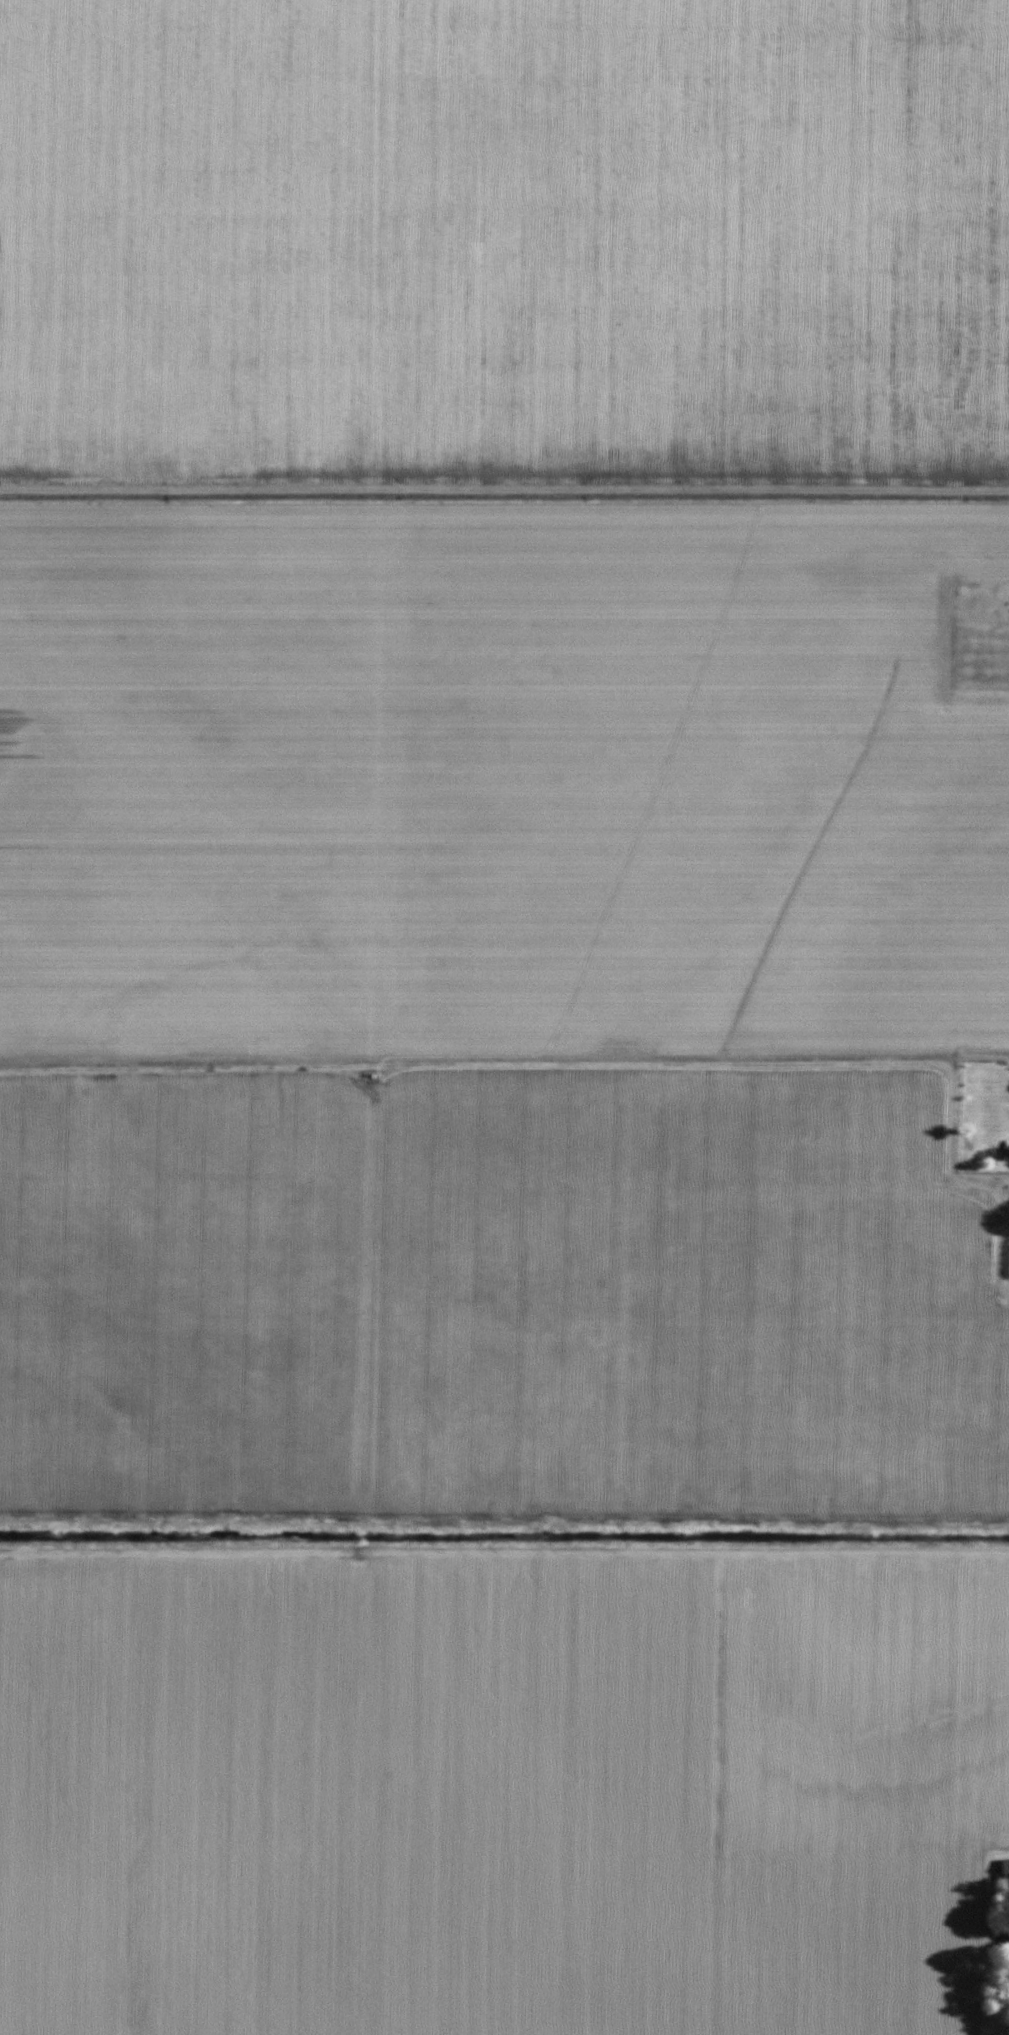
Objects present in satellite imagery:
building: (1004, 1869)

